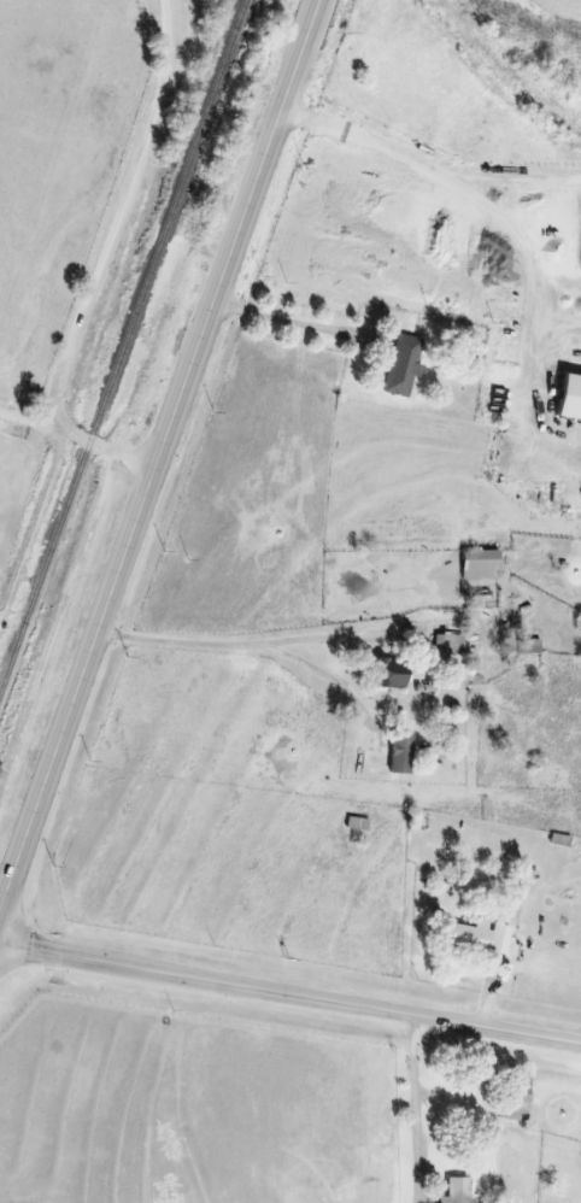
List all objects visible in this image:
road: (511, 206)
road: (105, 262)
railway: (121, 346)
building: (401, 366)
building: (568, 397)
road: (31, 401)
road: (157, 469)
building: (479, 563)
road: (262, 639)
building: (448, 644)
building: (387, 673)
building: (398, 752)
building: (500, 937)
road: (292, 987)
building: (516, 1096)
building: (456, 1190)

